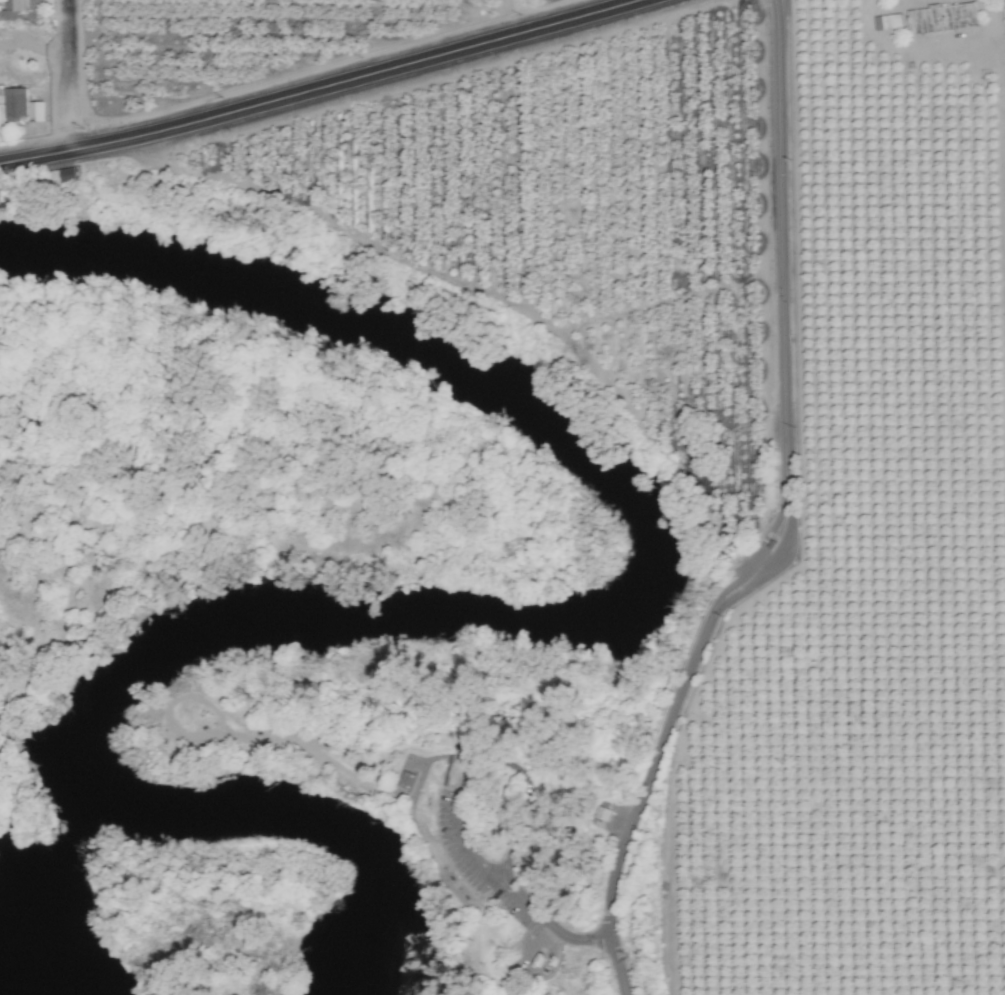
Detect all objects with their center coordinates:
building: (21, 5)
building: (943, 17)
building: (888, 21)
road: (70, 77)
road: (321, 89)
building: (14, 101)
building: (35, 111)
building: (68, 174)
road: (785, 521)
crop: (273, 526)
river: (478, 610)
road: (491, 760)
building: (408, 778)
road: (551, 925)

